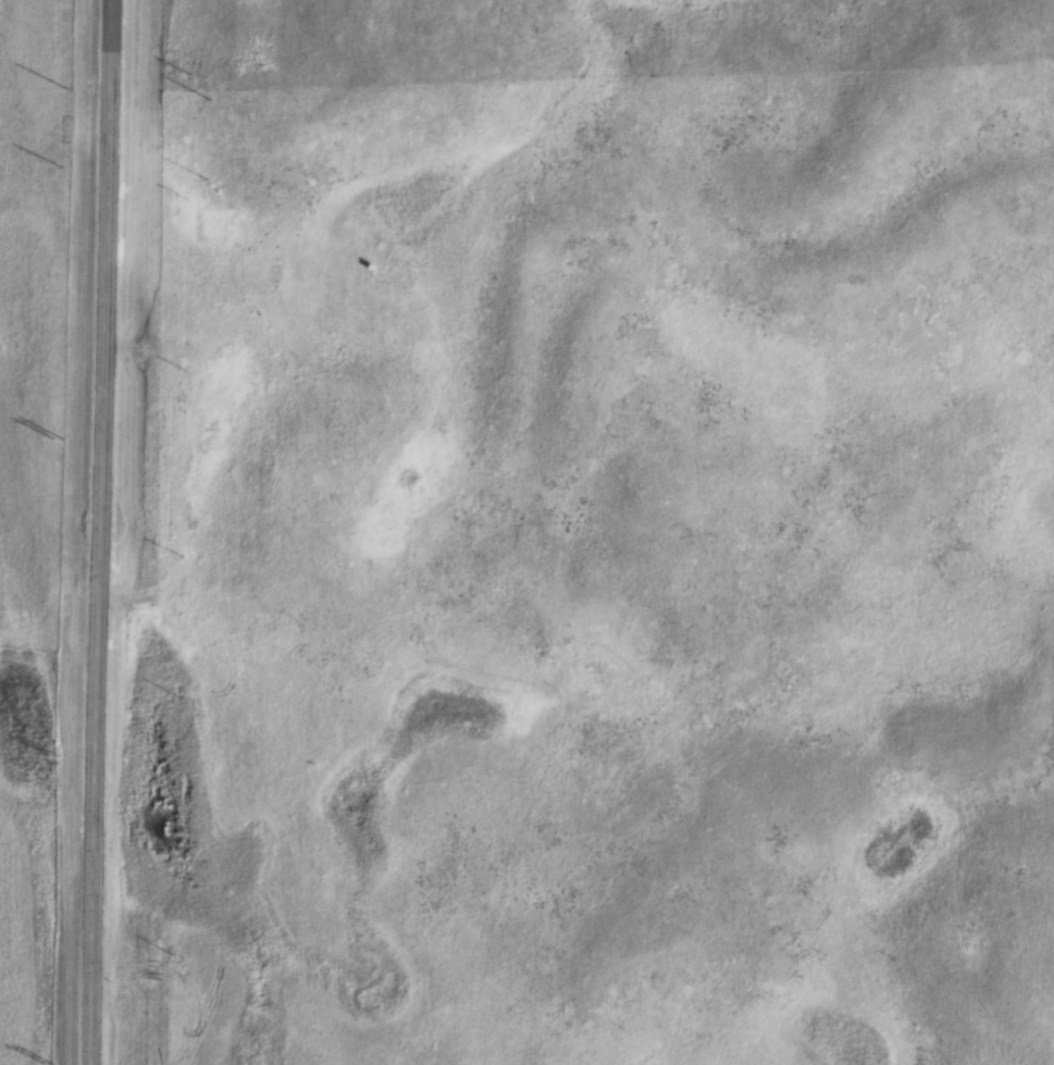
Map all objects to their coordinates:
power tower: (55, 437)
road: (96, 532)
power tower: (50, 756)
power tower: (46, 1062)

